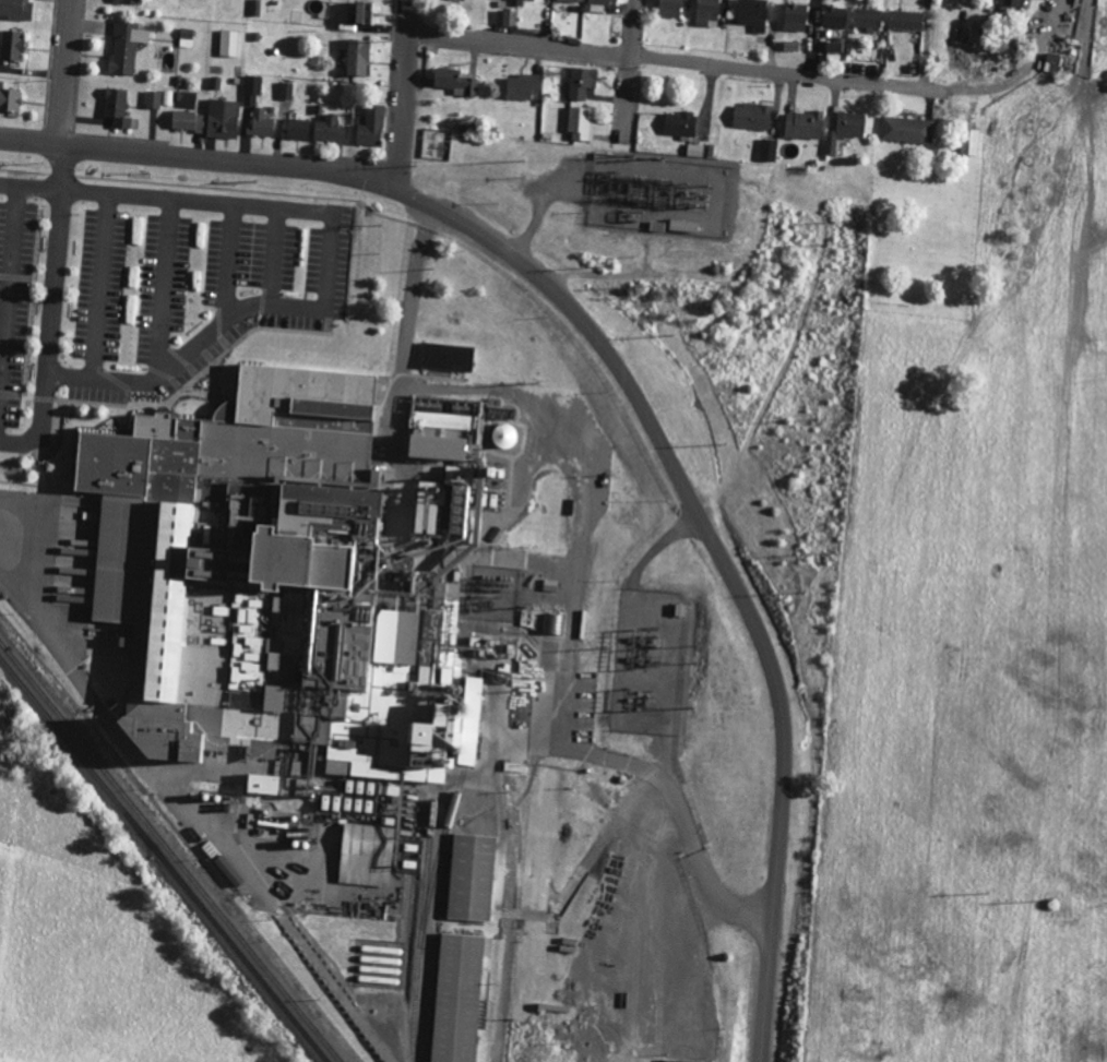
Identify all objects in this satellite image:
building: (568, 0)
building: (131, 2)
building: (517, 2)
building: (598, 4)
road: (1051, 4)
building: (255, 8)
building: (16, 9)
building: (668, 9)
building: (706, 13)
building: (751, 14)
building: (361, 16)
building: (833, 16)
building: (502, 17)
building: (794, 17)
building: (867, 17)
building: (905, 20)
building: (186, 38)
building: (228, 44)
road: (927, 44)
building: (11, 46)
building: (789, 46)
building: (834, 46)
building: (124, 48)
building: (356, 57)
road: (676, 59)
building: (1060, 64)
road: (632, 68)
road: (68, 72)
road: (1013, 76)
building: (454, 82)
building: (581, 83)
building: (523, 86)
building: (252, 90)
building: (286, 91)
road: (407, 96)
building: (168, 98)
building: (9, 99)
building: (153, 100)
building: (116, 108)
building: (751, 117)
building: (223, 119)
building: (188, 121)
building: (261, 123)
building: (581, 124)
building: (679, 124)
building: (802, 126)
building: (370, 128)
building: (296, 129)
building: (329, 130)
building: (845, 130)
building: (906, 130)
building: (969, 143)
building: (700, 150)
building: (769, 151)
road: (28, 186)
power substation: (663, 194)
road: (325, 277)
road: (49, 293)
parking lot: (191, 295)
parking lot: (16, 305)
building: (447, 356)
road: (632, 384)
building: (299, 397)
building: (502, 434)
road: (20, 443)
building: (346, 458)
building: (254, 505)
building: (420, 517)
road: (663, 544)
building: (552, 622)
power substation: (651, 659)
road: (653, 777)
railway: (169, 851)
railway: (437, 858)
railway: (164, 860)
building: (469, 876)
railway: (421, 917)
road: (588, 960)
building: (456, 998)
road: (612, 1024)

